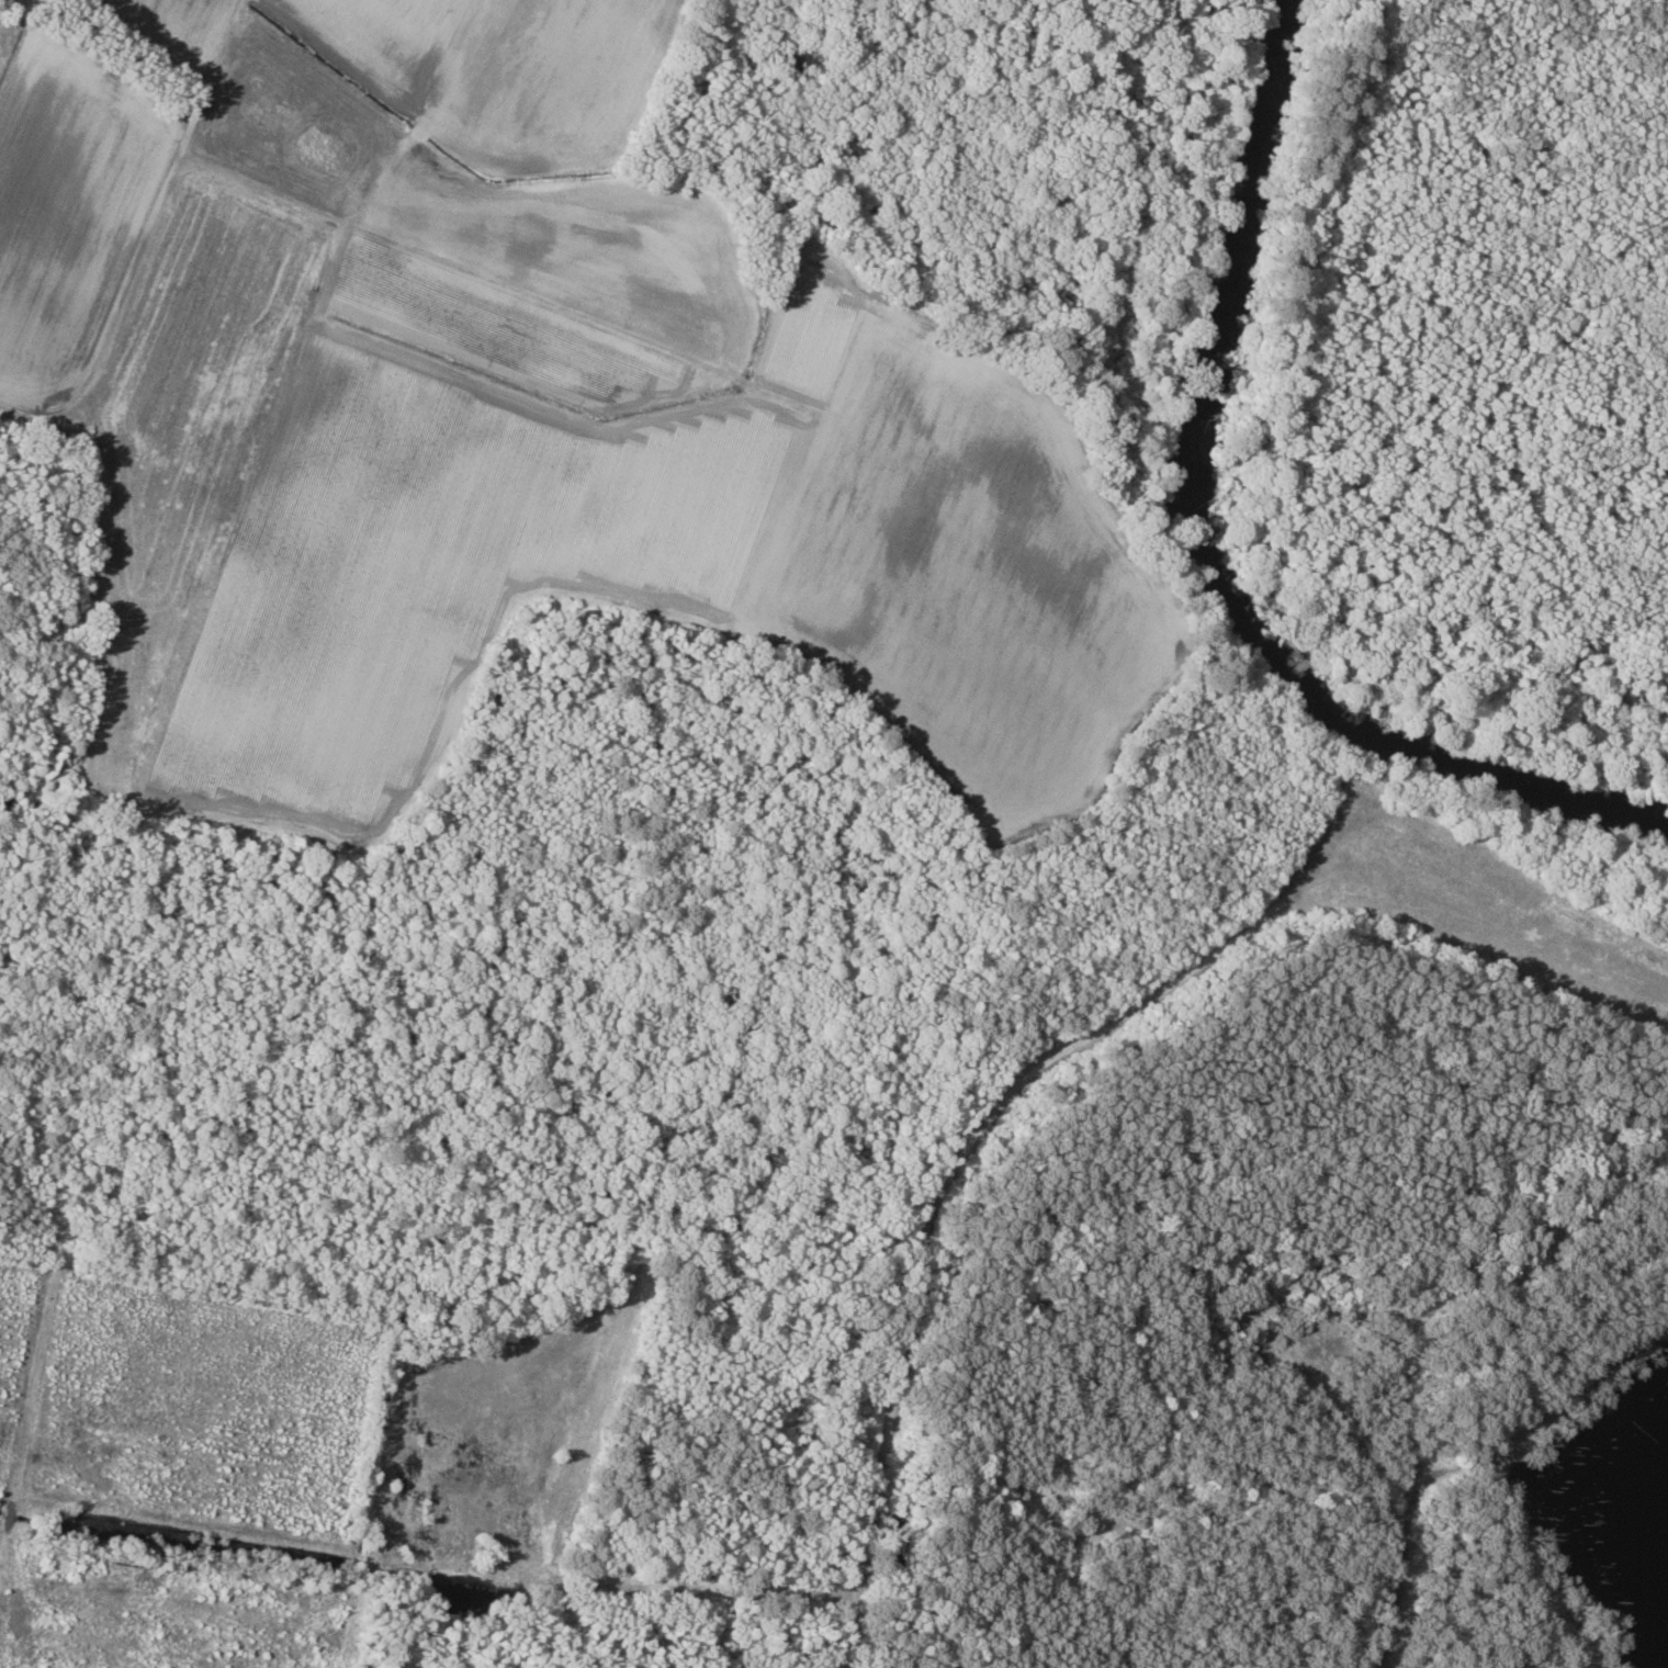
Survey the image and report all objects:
river: (1232, 545)
road: (1467, 1450)

